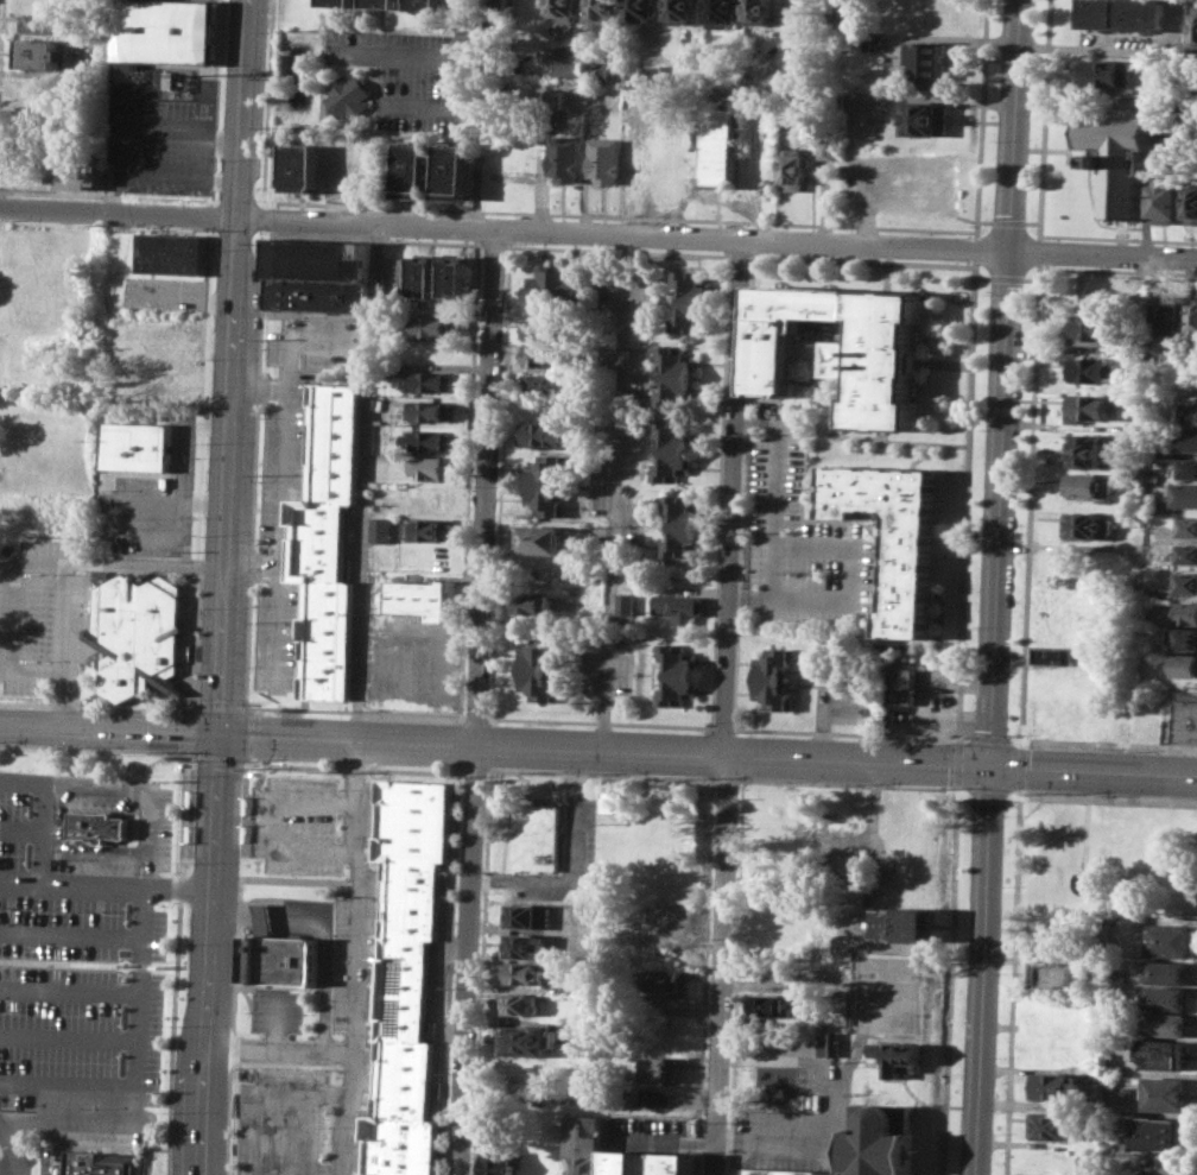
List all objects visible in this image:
building: (340, 2)
building: (384, 2)
building: (427, 5)
building: (499, 8)
building: (641, 10)
building: (564, 11)
building: (680, 11)
building: (723, 13)
building: (603, 14)
building: (759, 14)
building: (1123, 14)
building: (40, 23)
building: (1195, 27)
building: (163, 30)
building: (875, 40)
road: (1, 45)
building: (45, 52)
road: (426, 53)
street lamp: (222, 62)
building: (925, 64)
building: (570, 70)
building: (1110, 72)
parking lot: (413, 75)
building: (349, 95)
road: (217, 101)
road: (266, 102)
road: (448, 108)
building: (924, 116)
road: (981, 118)
road: (1044, 119)
road: (141, 133)
parking lot: (161, 135)
building: (722, 146)
building: (826, 150)
building: (565, 157)
street lamp: (218, 158)
building: (1120, 159)
building: (607, 160)
building: (302, 166)
building: (77, 169)
building: (417, 169)
building: (346, 170)
building: (794, 170)
building: (456, 171)
road: (178, 173)
road: (106, 194)
building: (1165, 201)
building: (1191, 202)
road: (119, 213)
road: (213, 215)
road: (620, 216)
road: (261, 217)
road: (984, 220)
road: (1009, 221)
road: (1033, 222)
road: (106, 227)
road: (623, 232)
road: (262, 233)
road: (1119, 236)
road: (493, 241)
road: (976, 247)
street lamp: (214, 248)
road: (620, 249)
road: (1040, 251)
road: (741, 252)
building: (171, 253)
road: (1103, 255)
road: (863, 259)
road: (1039, 265)
building: (317, 274)
building: (425, 274)
building: (456, 277)
road: (983, 277)
road: (1006, 277)
road: (1031, 278)
building: (558, 285)
building: (689, 301)
building: (1168, 316)
building: (1192, 318)
building: (435, 323)
building: (540, 329)
building: (1091, 329)
building: (841, 348)
building: (538, 354)
street lamp: (210, 358)
road: (259, 364)
building: (1090, 368)
building: (28, 371)
building: (674, 374)
building: (432, 380)
building: (546, 383)
building: (159, 385)
road: (261, 390)
road: (830, 405)
building: (1087, 408)
building: (431, 409)
parking lot: (299, 410)
building: (1186, 413)
road: (749, 418)
road: (1033, 423)
building: (545, 432)
road: (844, 435)
building: (430, 438)
building: (1187, 440)
street lamp: (208, 441)
building: (141, 446)
building: (1157, 448)
building: (672, 449)
building: (1084, 450)
building: (435, 467)
building: (1186, 467)
road: (201, 470)
road: (469, 478)
road: (501, 478)
road: (189, 480)
road: (366, 481)
road: (286, 482)
building: (545, 485)
building: (1087, 485)
road: (721, 488)
road: (742, 488)
road: (614, 492)
building: (1182, 494)
road: (967, 497)
road: (774, 514)
building: (680, 525)
building: (1085, 525)
building: (1185, 526)
building: (381, 529)
building: (430, 529)
road: (127, 531)
building: (893, 532)
street lamp: (204, 533)
building: (538, 539)
building: (334, 541)
parking lot: (806, 547)
building: (1185, 551)
road: (147, 566)
road: (24, 567)
road: (253, 567)
building: (1184, 581)
road: (224, 587)
road: (995, 587)
road: (735, 596)
building: (425, 598)
building: (623, 602)
street lamp: (255, 605)
building: (540, 605)
street lamp: (201, 607)
building: (678, 607)
building: (1185, 612)
parking lot: (45, 615)
building: (140, 633)
parking lot: (280, 637)
building: (1184, 638)
building: (1051, 655)
street lamp: (253, 665)
parking lot: (412, 665)
building: (1183, 665)
building: (540, 668)
building: (676, 674)
building: (773, 678)
building: (901, 682)
street lamp: (198, 699)
road: (69, 700)
road: (480, 701)
road: (96, 705)
road: (196, 706)
road: (222, 706)
street lamp: (464, 706)
road: (251, 707)
road: (722, 707)
street lamp: (186, 710)
road: (357, 710)
road: (475, 715)
building: (1182, 716)
road: (598, 721)
road: (721, 726)
road: (190, 731)
road: (849, 732)
road: (251, 734)
street lamp: (1008, 734)
traffic signals: (218, 735)
street lamp: (967, 735)
road: (988, 738)
road: (1019, 739)
road: (1109, 743)
street lamp: (85, 744)
road: (99, 747)
street lamp: (169, 747)
road: (597, 751)
road: (220, 757)
road: (248, 759)
street lamp: (253, 759)
road: (1020, 766)
traffic signals: (989, 769)
road: (475, 770)
road: (460, 771)
street lamp: (488, 772)
road: (598, 772)
street lamp: (602, 772)
street lamp: (195, 775)
street lamp: (289, 775)
road: (726, 778)
street lamp: (785, 783)
road: (854, 785)
street lamp: (855, 787)
street lamp: (340, 788)
road: (123, 789)
road: (1020, 790)
street lamp: (943, 791)
road: (987, 791)
street lamp: (1040, 791)
road: (1013, 792)
street lamp: (1106, 794)
street lamp: (737, 796)
road: (1142, 797)
building: (609, 798)
street lamp: (14, 804)
street lamp: (1005, 815)
street lamp: (254, 823)
road: (275, 823)
building: (101, 825)
parking lot: (296, 825)
building: (537, 836)
road: (81, 845)
park: (1110, 854)
street lamp: (192, 861)
road: (1084, 865)
street lamp: (346, 866)
road: (452, 867)
street lamp: (291, 874)
road: (19, 880)
road: (55, 882)
street lamp: (735, 883)
street lamp: (1001, 886)
road: (190, 887)
street lamp: (11, 906)
street lamp: (102, 910)
building: (527, 916)
building: (659, 920)
building: (902, 923)
building: (1111, 924)
building: (579, 927)
road: (325, 931)
road: (75, 933)
street lamp: (332, 933)
building: (1170, 940)
street lamp: (186, 943)
building: (524, 945)
road: (1013, 949)
building: (286, 959)
road: (359, 959)
road: (178, 961)
road: (236, 966)
building: (1167, 972)
parking lot: (357, 973)
building: (522, 973)
street lamp: (997, 973)
building: (408, 975)
building: (1060, 975)
building: (659, 978)
road: (74, 980)
parking lot: (74, 983)
building: (581, 990)
street lamp: (729, 994)
park: (889, 997)
building: (1166, 997)
street lamp: (331, 998)
building: (519, 1003)
street lamp: (7, 1004)
street lamp: (100, 1007)
building: (768, 1007)
parking lot: (277, 1011)
street lamp: (249, 1012)
street lamp: (304, 1015)
road: (277, 1022)
street lamp: (182, 1024)
building: (1165, 1024)
road: (74, 1031)
building: (526, 1041)
building: (825, 1042)
road: (281, 1049)
building: (1160, 1054)
street lamp: (995, 1056)
building: (898, 1057)
street lamp: (277, 1067)
street lamp: (325, 1068)
building: (658, 1068)
building: (783, 1076)
road: (145, 1081)
road: (72, 1084)
building: (1053, 1087)
building: (1163, 1093)
street lamp: (240, 1100)
street lamp: (15, 1106)
street lamp: (95, 1106)
street lamp: (726, 1107)
street lamp: (169, 1117)
parking lot: (281, 1120)
parking lot: (796, 1123)
building: (1050, 1125)
road: (265, 1126)
street lamp: (329, 1126)
street lamp: (992, 1132)
building: (1157, 1133)
building: (878, 1139)
building: (585, 1144)
road: (11, 1155)
building: (94, 1162)
street lamp: (236, 1162)
building: (501, 1162)
building: (623, 1162)
building: (676, 1163)
building: (1164, 1165)
road: (8, 1169)
building: (784, 1171)

